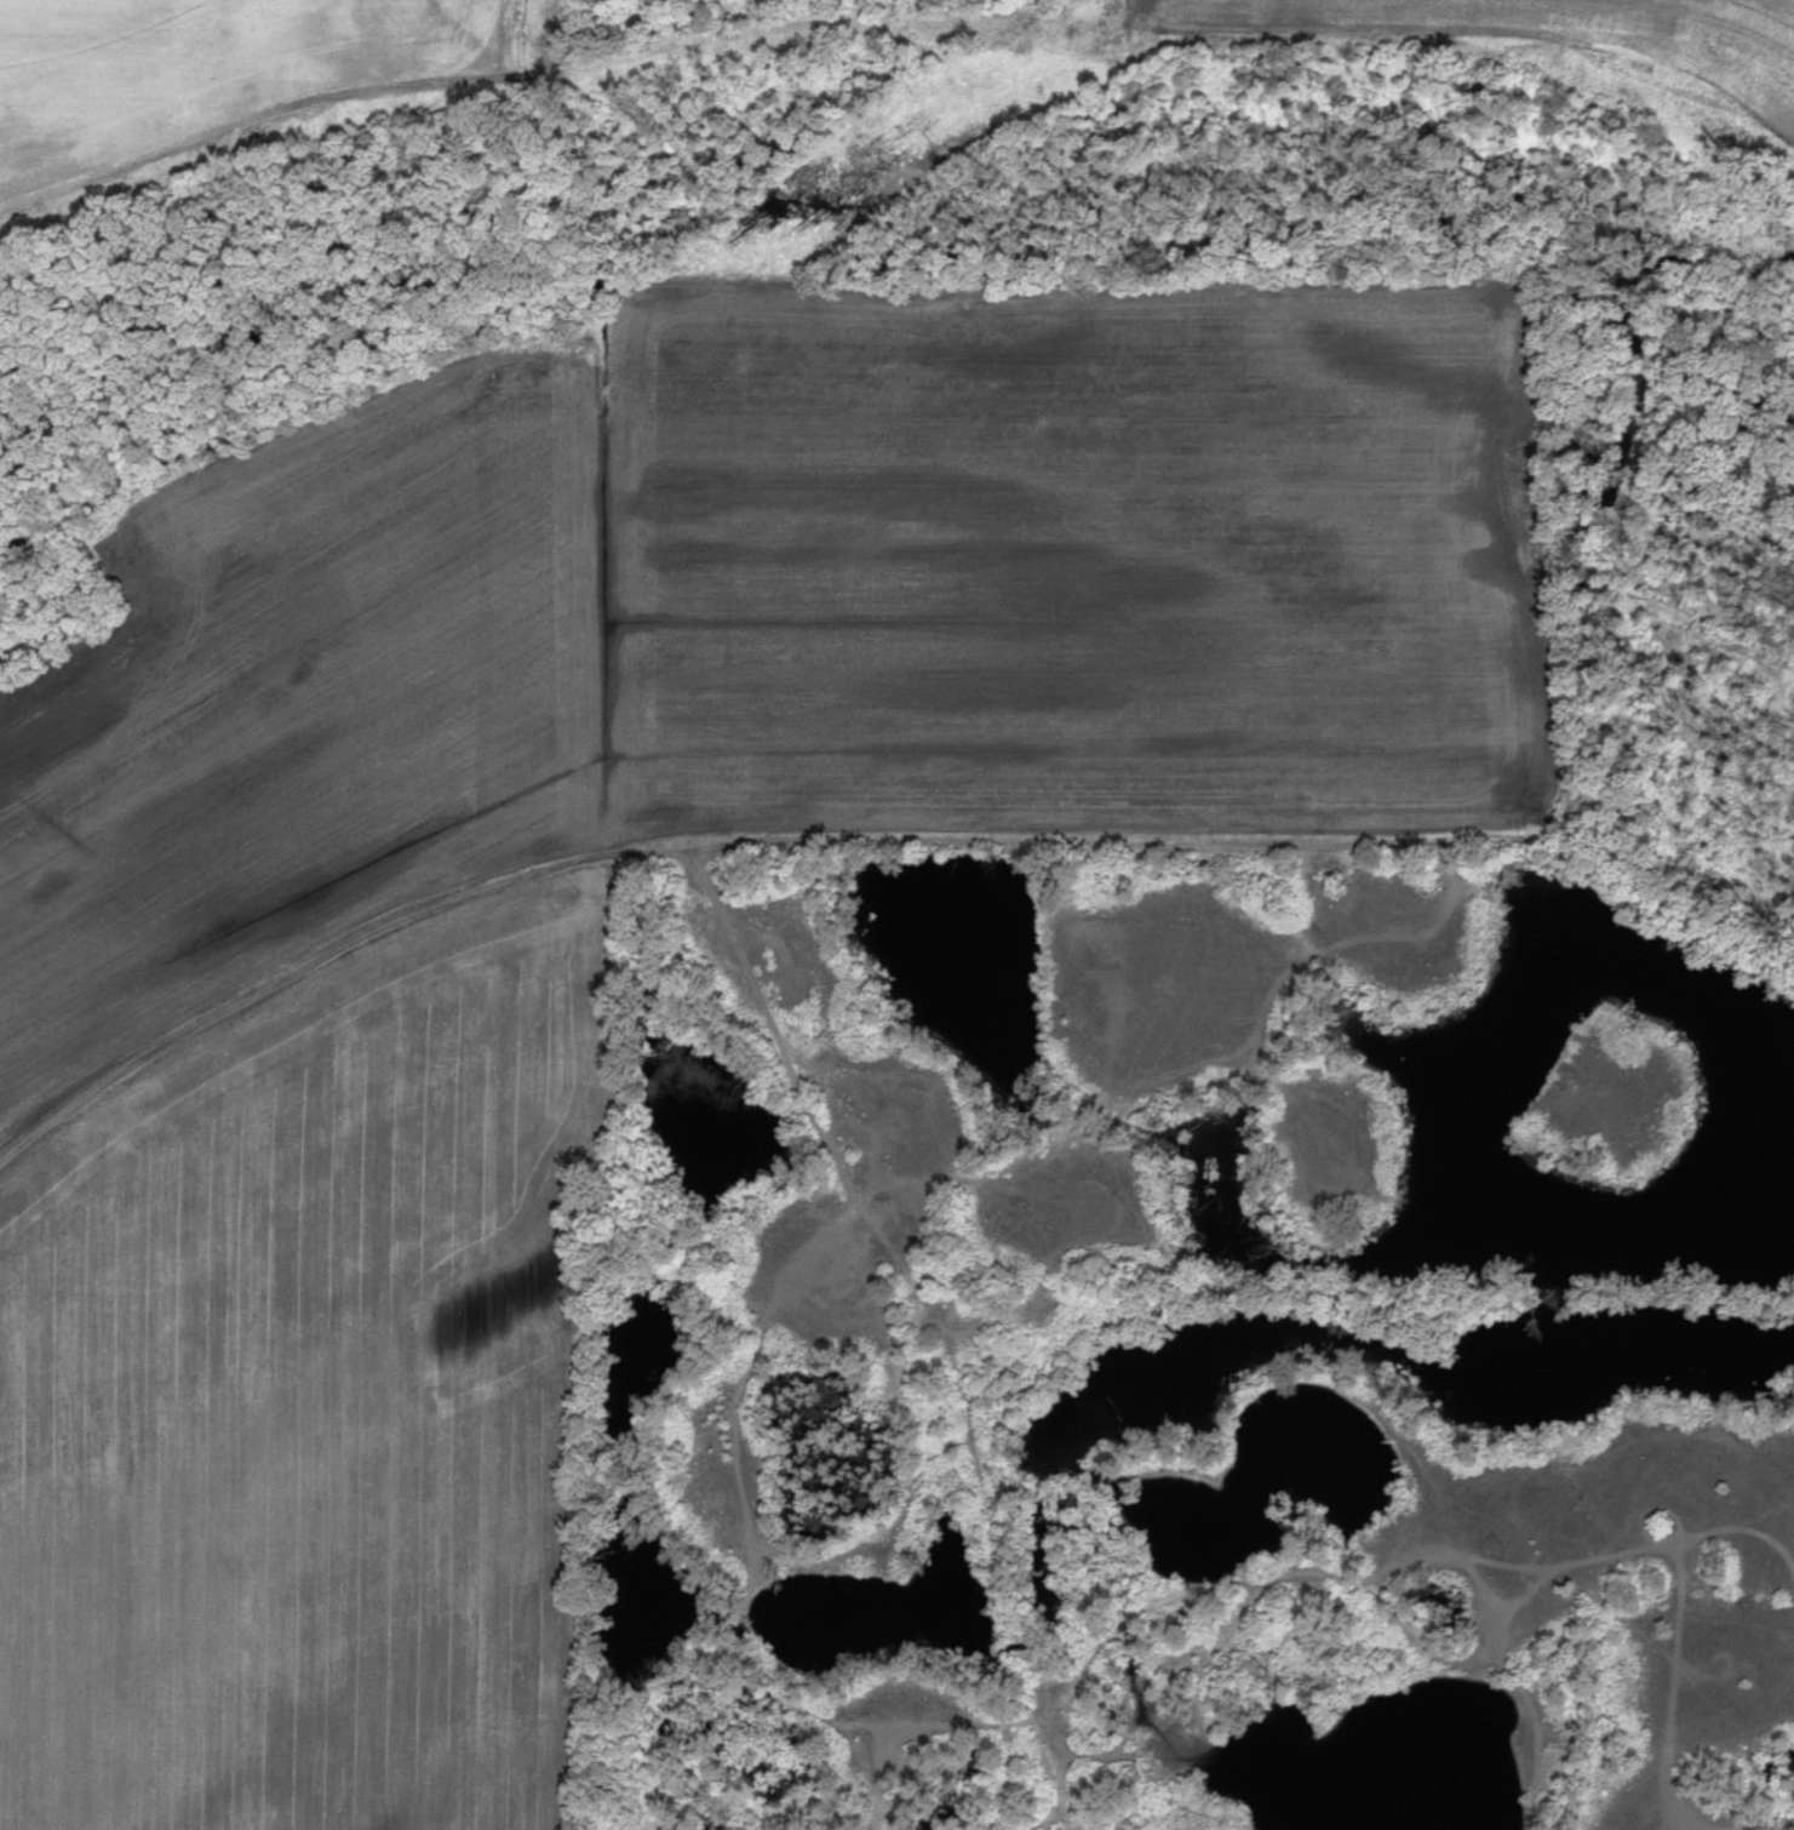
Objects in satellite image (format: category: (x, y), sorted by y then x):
road: (313, 104)
road: (757, 987)
road: (1386, 1565)
road: (749, 1574)
road: (1675, 1689)
road: (1526, 1698)
road: (1120, 1743)
road: (878, 1782)
road: (1776, 1825)

